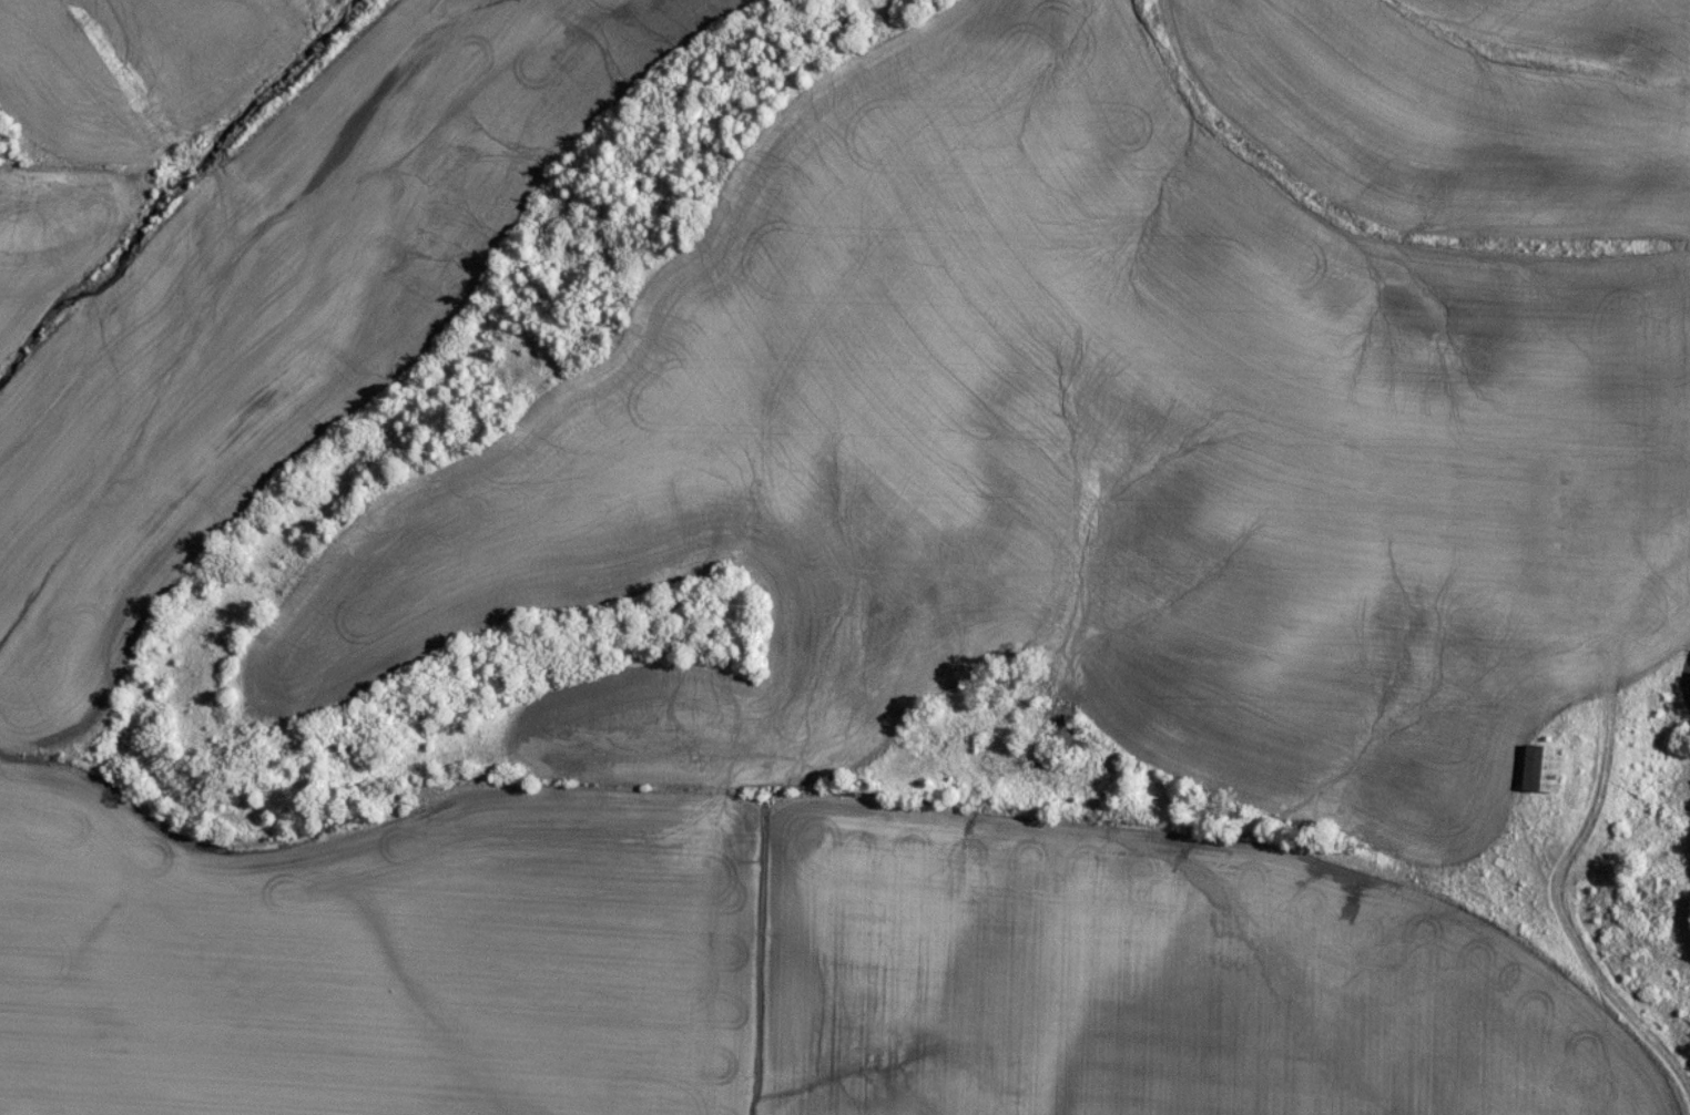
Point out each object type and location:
road: (1558, 654)
road: (805, 761)
building: (1548, 768)

